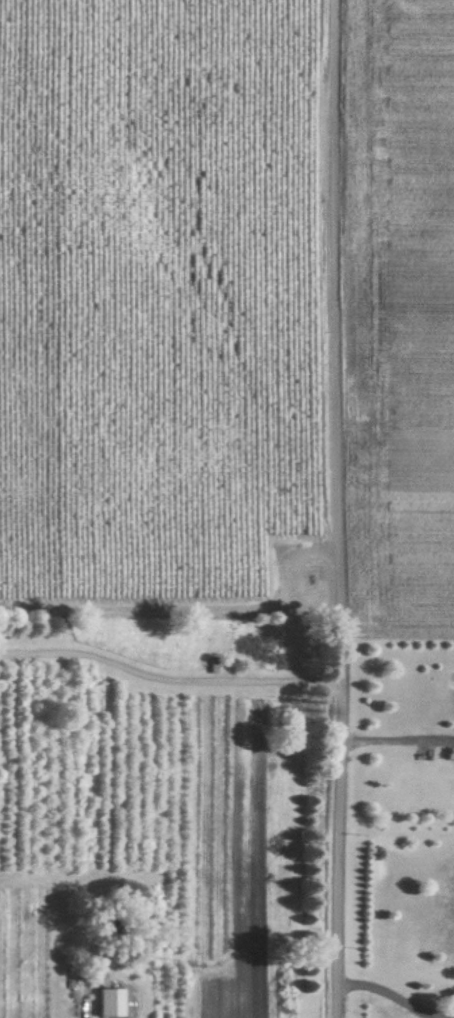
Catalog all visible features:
road: (342, 508)
road: (169, 677)
road: (397, 739)
road: (399, 996)
building: (108, 1001)

